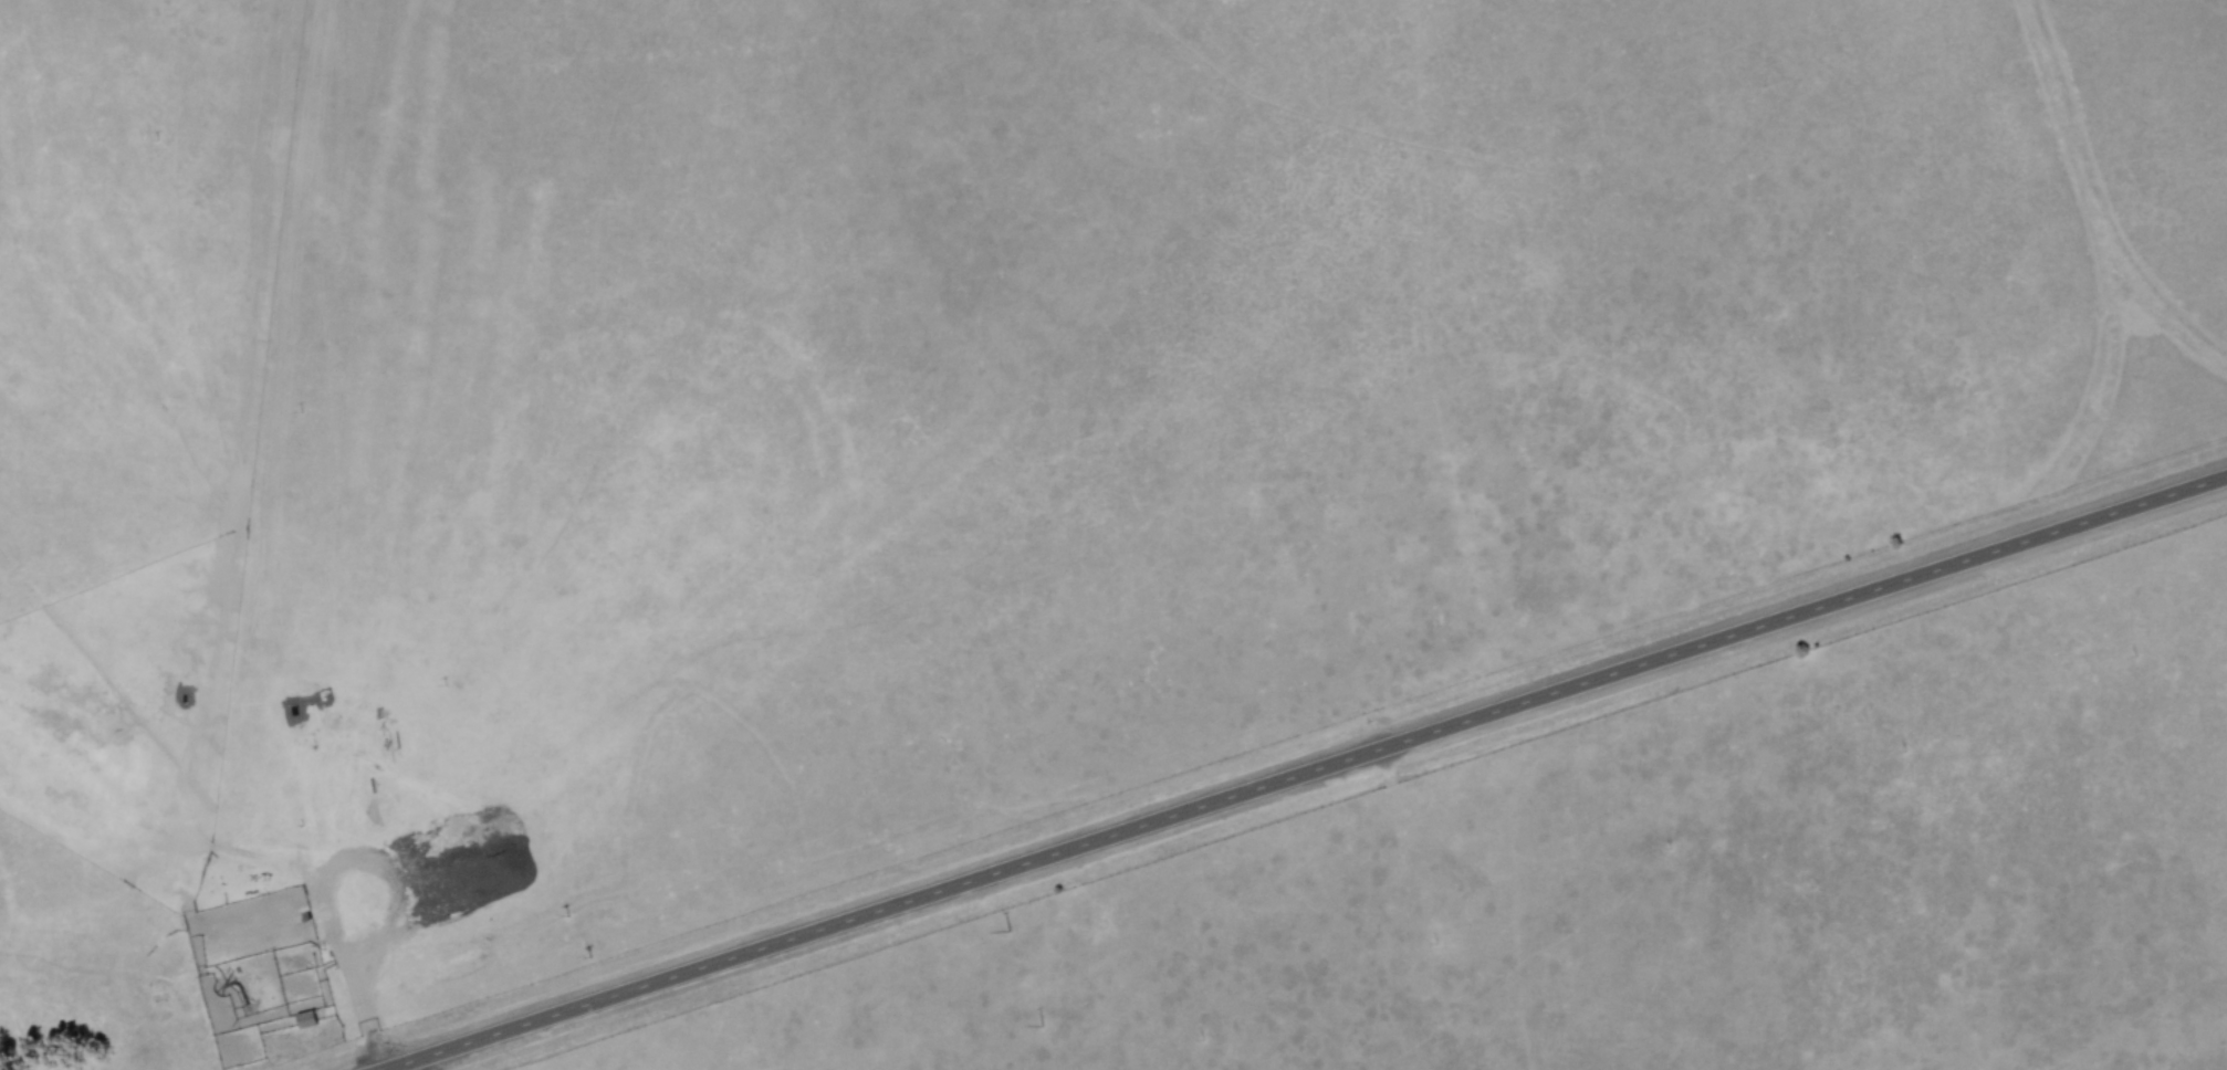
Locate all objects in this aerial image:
road: (1307, 773)
building: (306, 1019)
road: (398, 1068)

